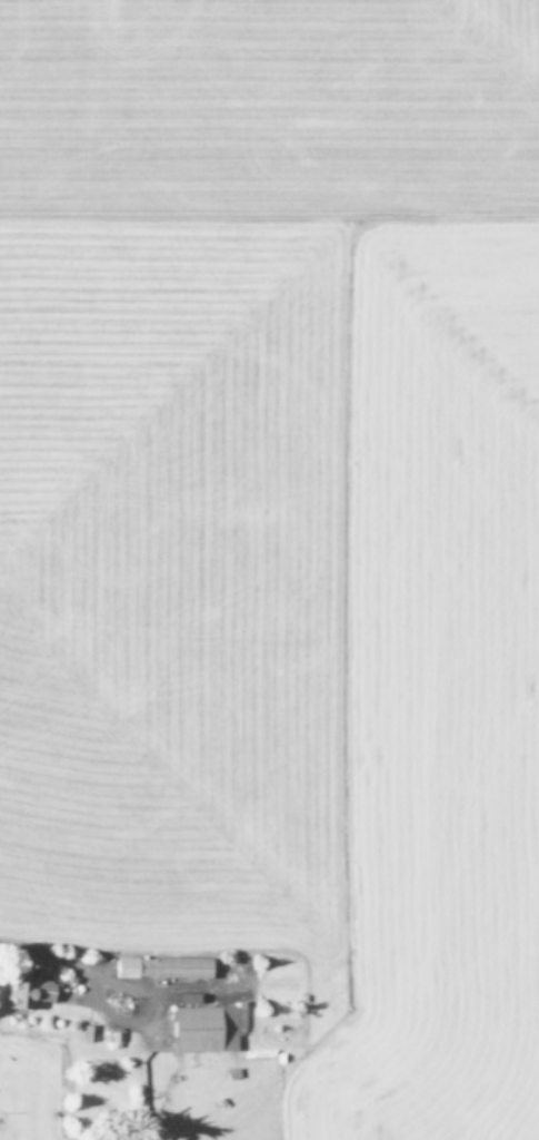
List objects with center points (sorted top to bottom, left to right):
crop: (269, 570)
building: (160, 966)
building: (24, 990)
road: (68, 996)
building: (206, 1028)

